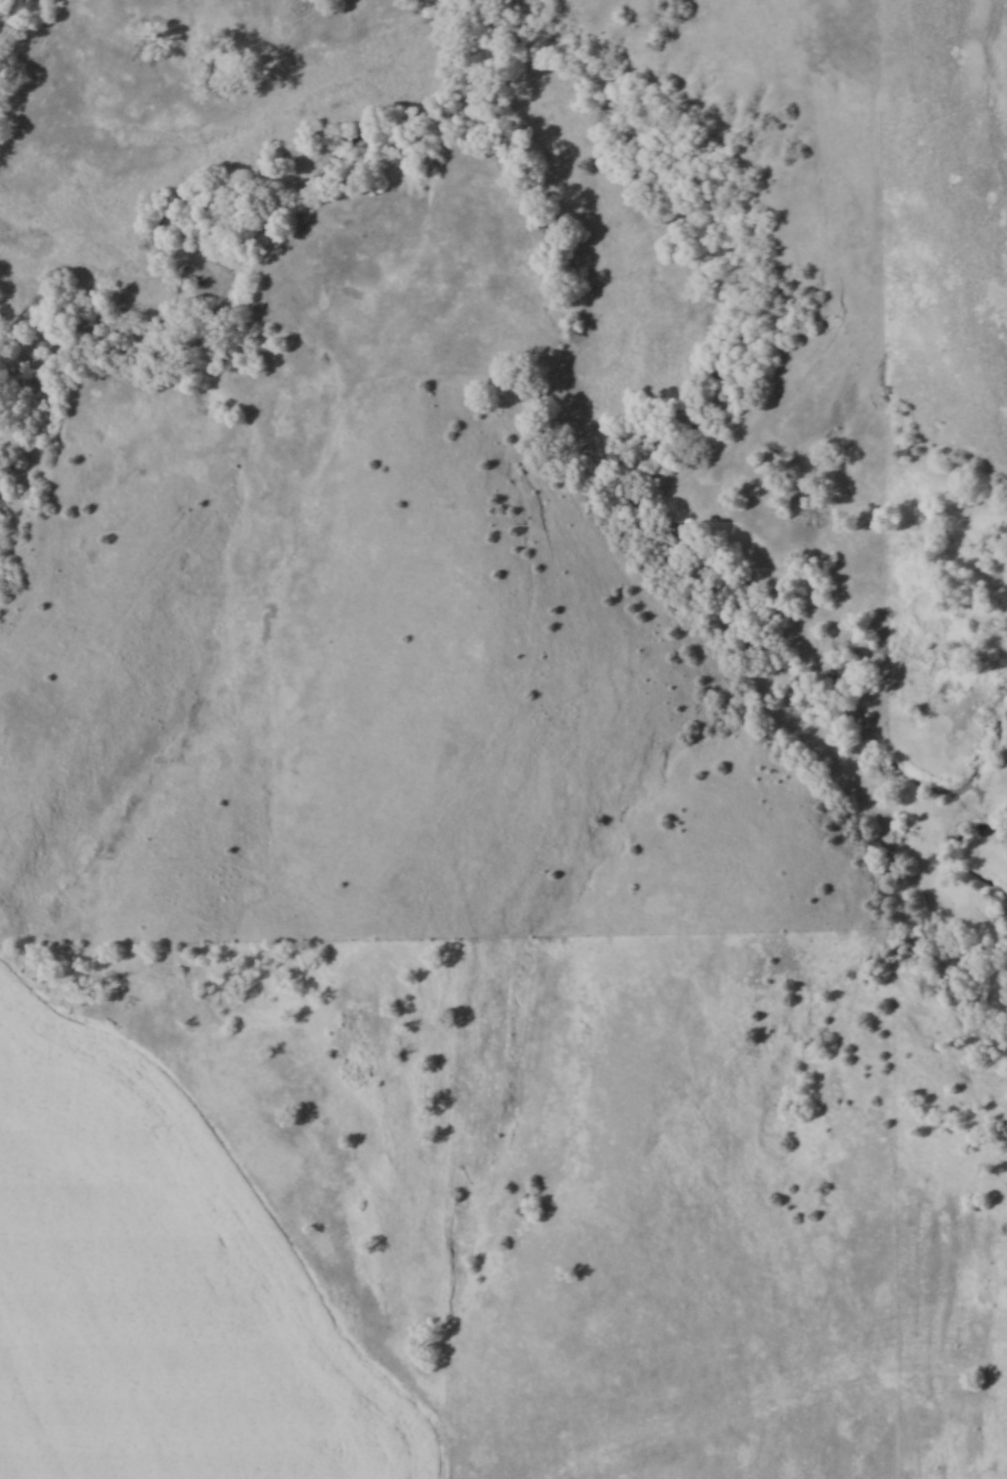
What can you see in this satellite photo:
park: (948, 1199)
crop: (162, 1289)

